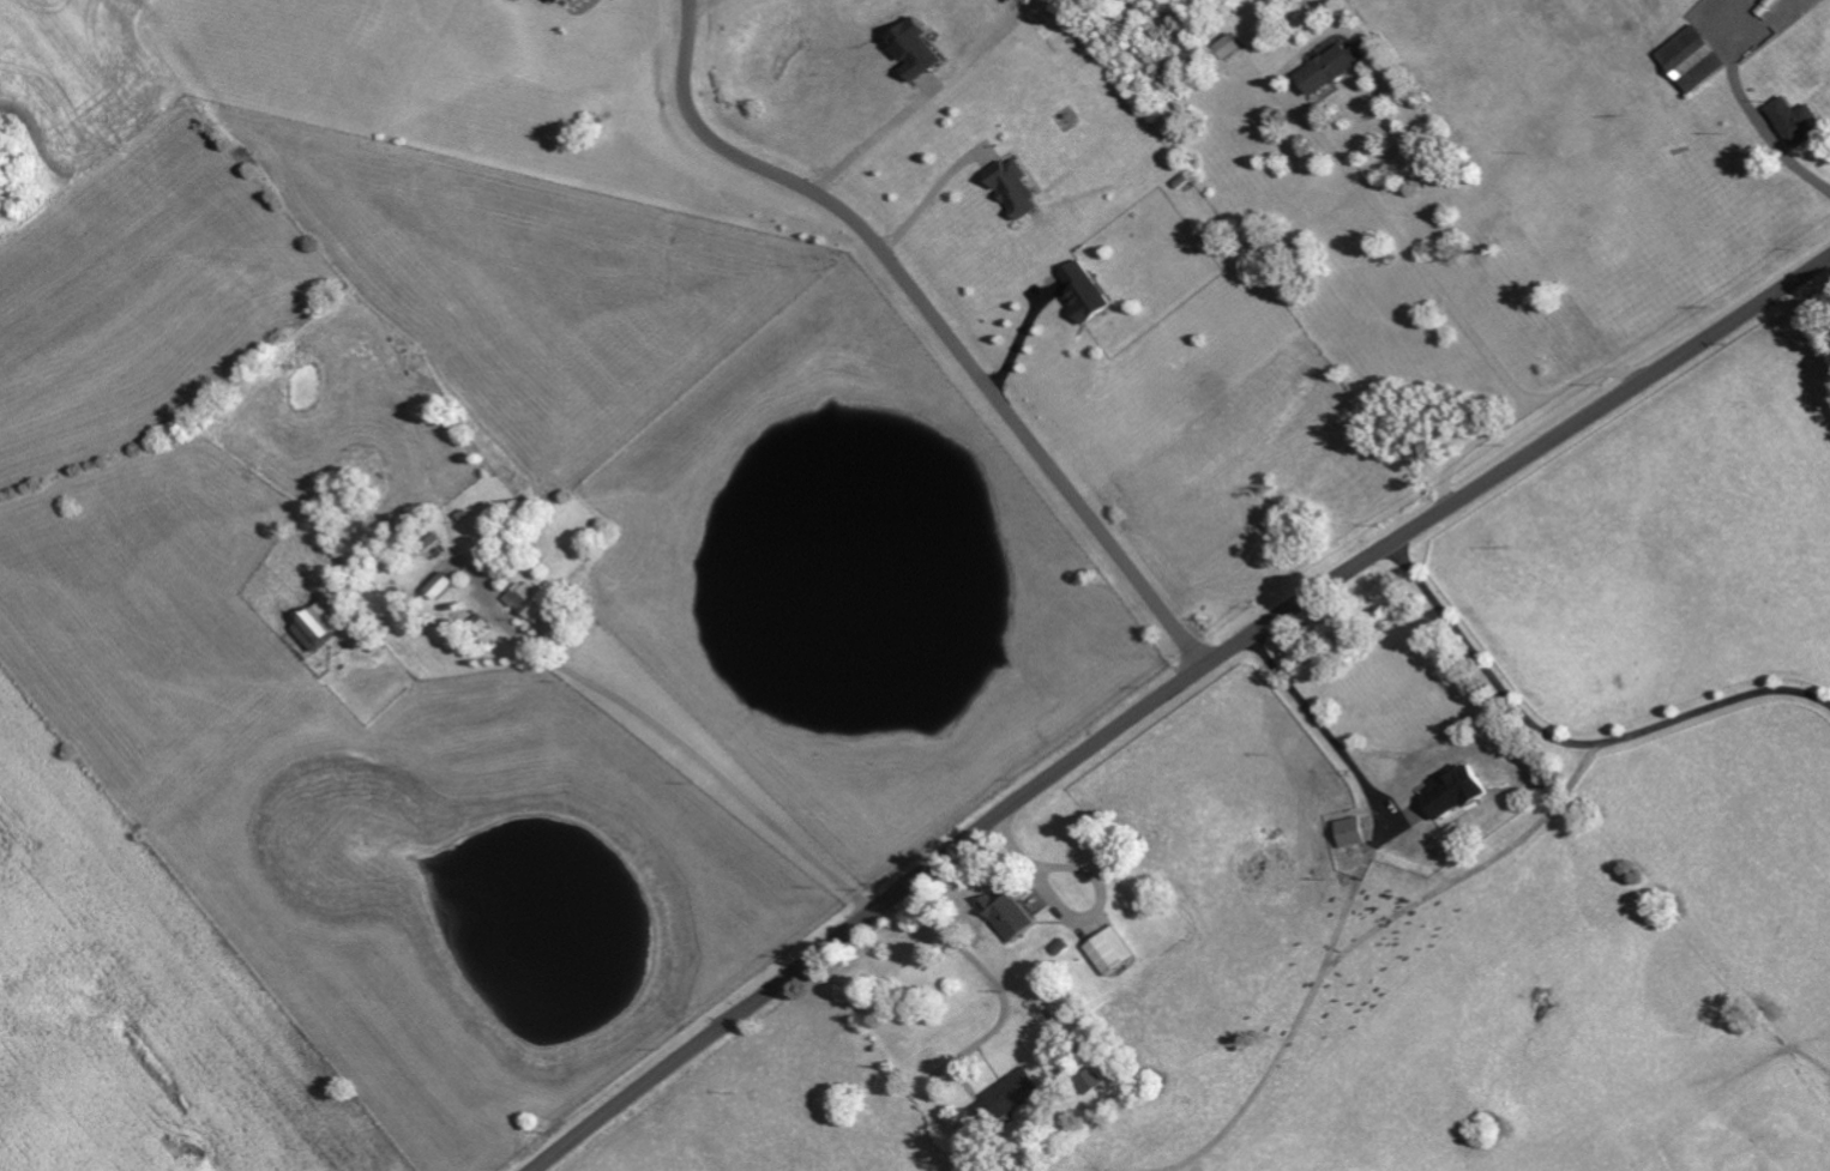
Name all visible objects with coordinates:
building: (560, 1)
road: (706, 8)
building: (916, 50)
building: (1696, 59)
building: (1332, 68)
building: (1799, 121)
road: (1320, 131)
road: (1771, 140)
road: (869, 143)
building: (1017, 188)
road: (928, 199)
building: (1086, 292)
road: (937, 320)
road: (1024, 337)
road: (1524, 414)
building: (532, 602)
building: (320, 626)
road: (1169, 694)
road: (1323, 724)
road: (672, 734)
road: (1570, 744)
building: (1456, 792)
building: (1353, 833)
building: (1011, 912)
road: (1076, 922)
building: (1114, 950)
road: (999, 984)
building: (1095, 1080)
building: (1013, 1095)

